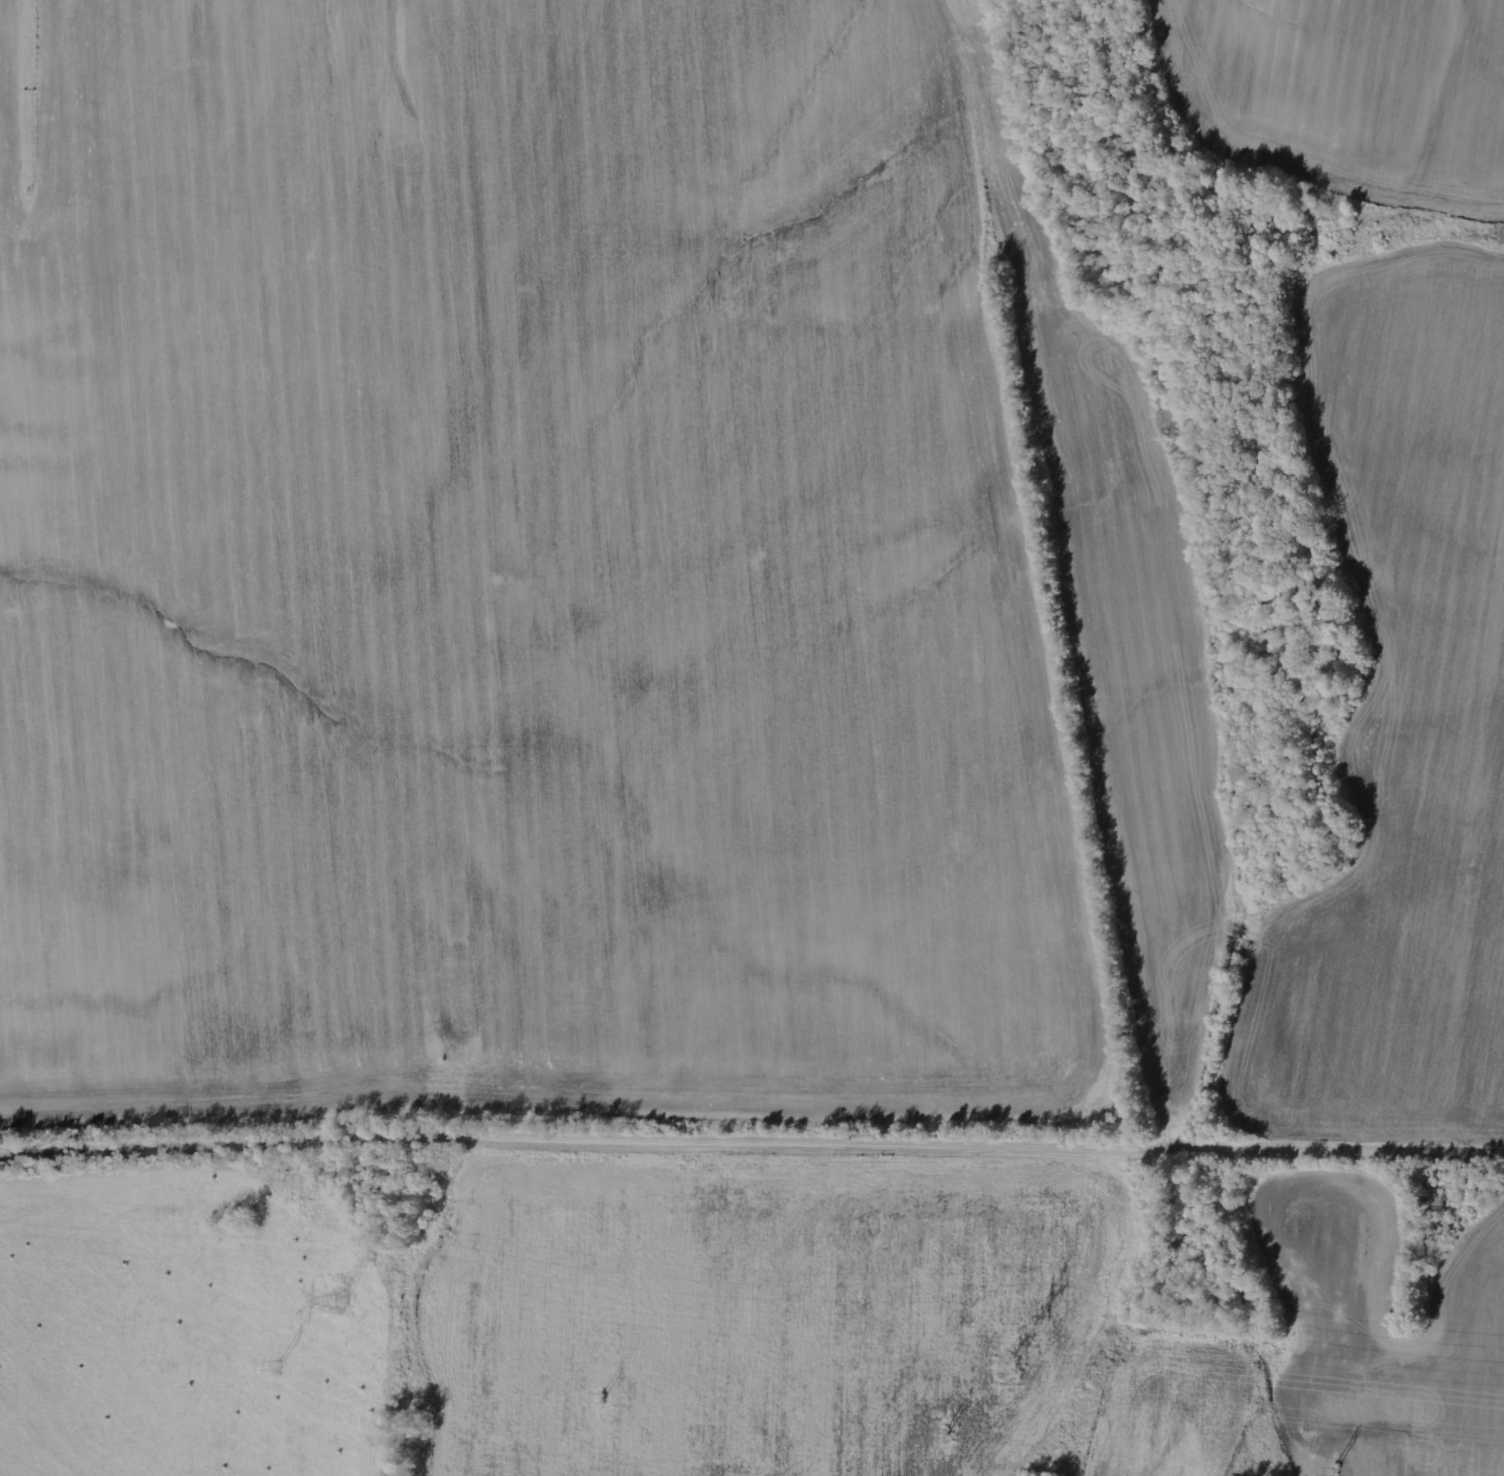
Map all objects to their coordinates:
road: (243, 1142)
road: (996, 1149)
power tower: (342, 1302)
power tower: (1006, 1369)

